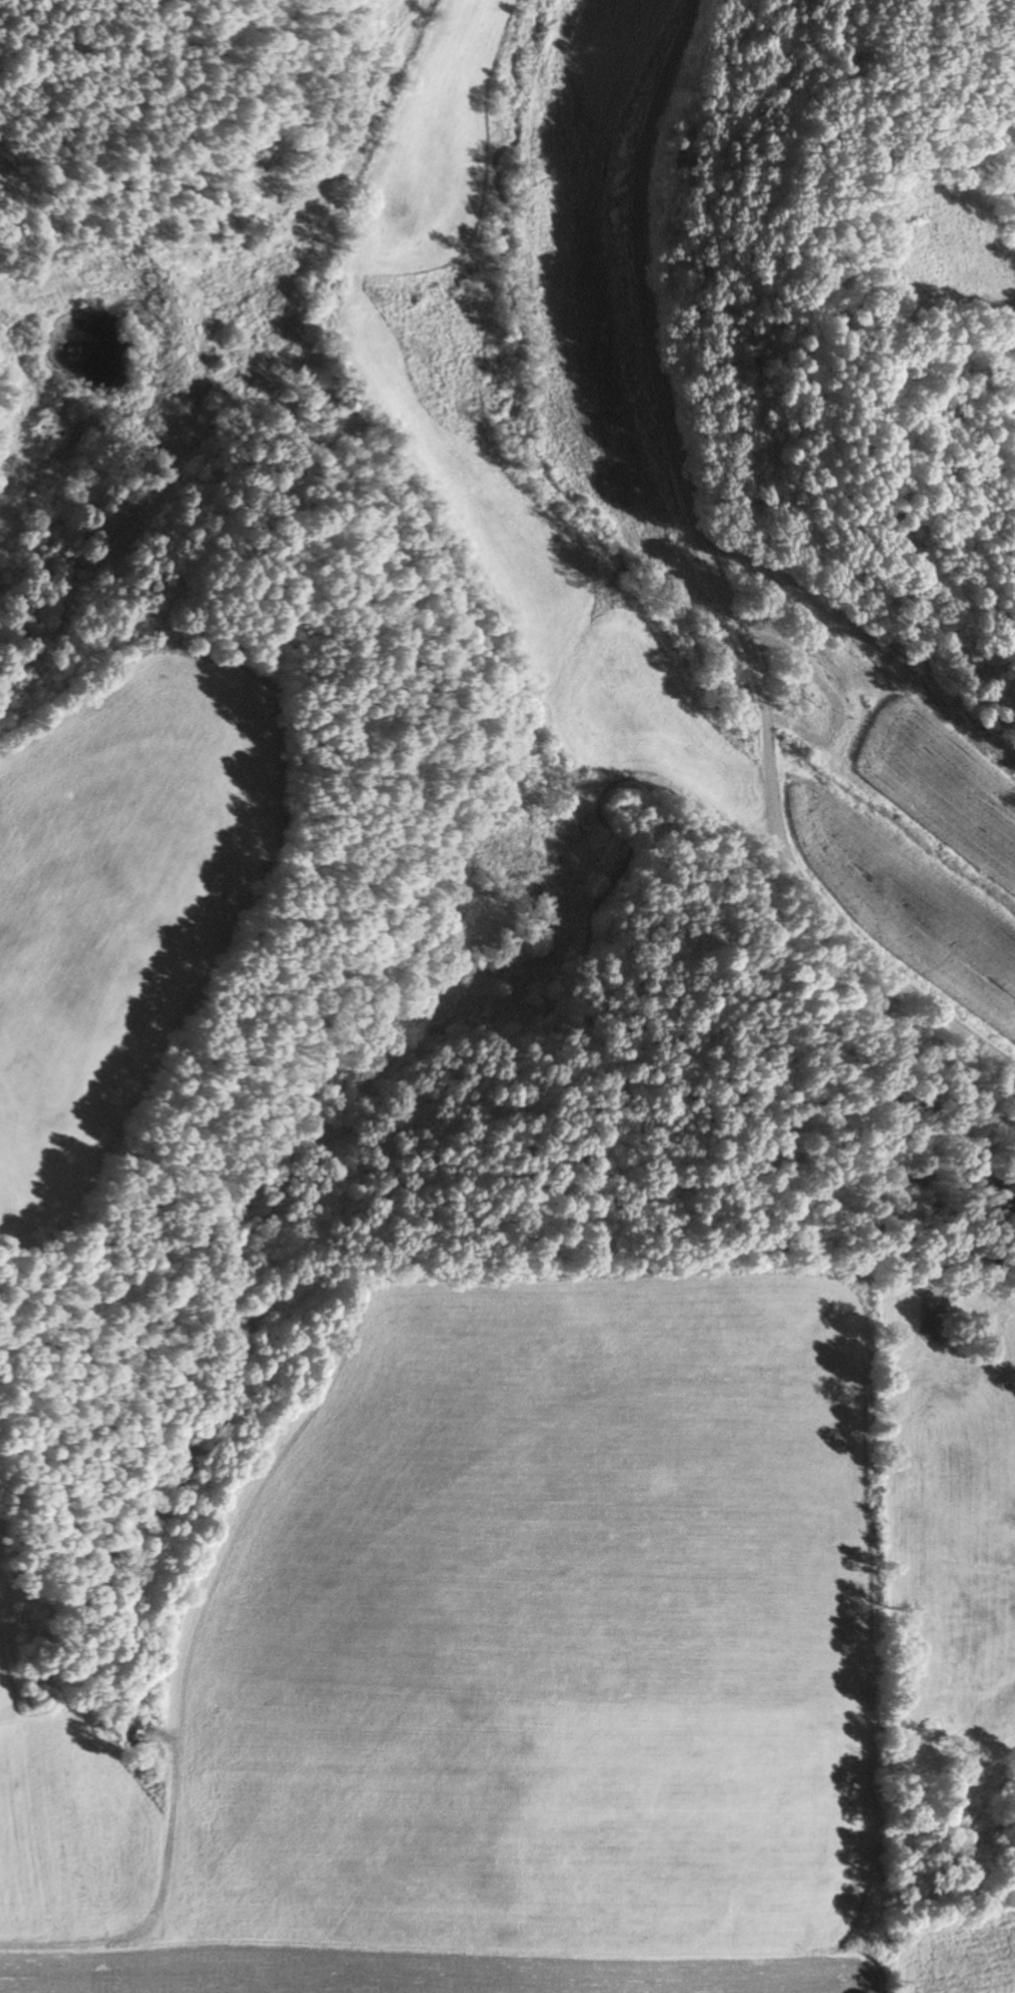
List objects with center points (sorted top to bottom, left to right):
road: (722, 578)

